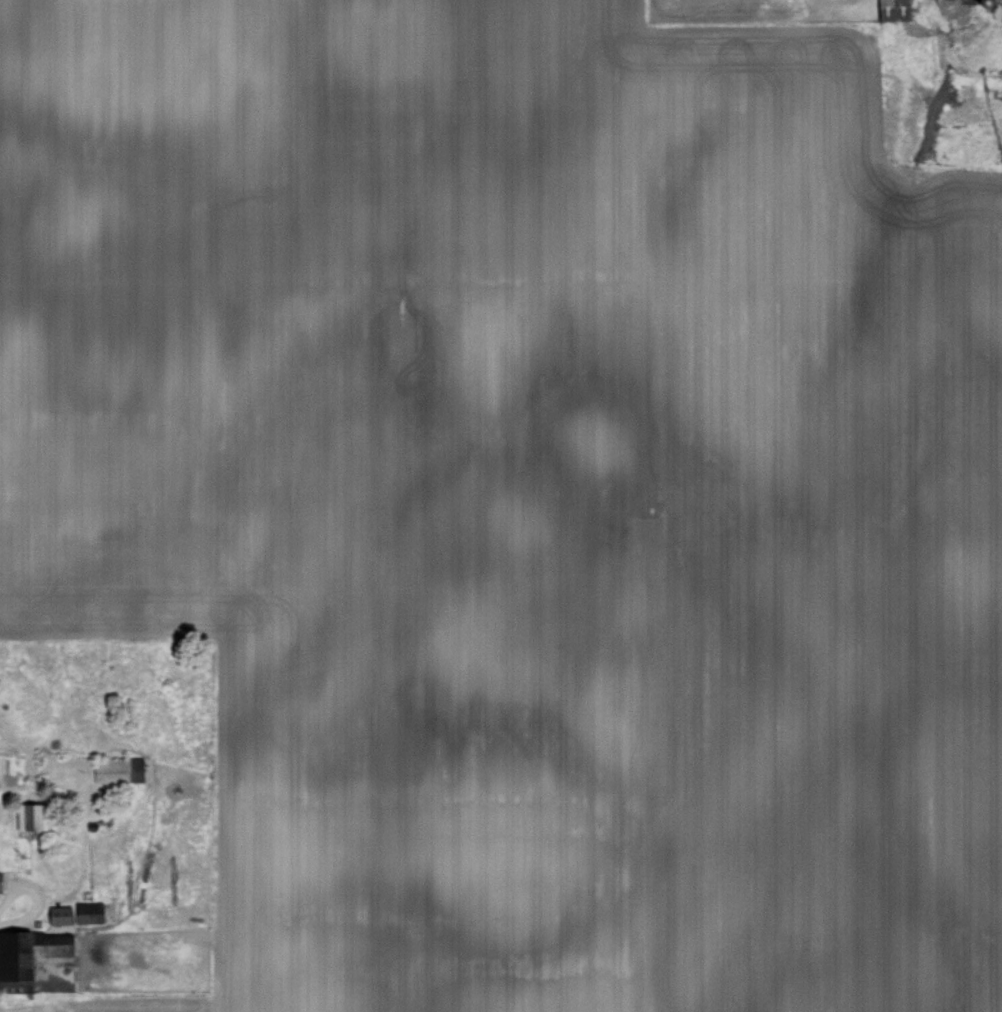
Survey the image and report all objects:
building: (891, 9)
building: (114, 769)
building: (65, 914)
road: (94, 943)

